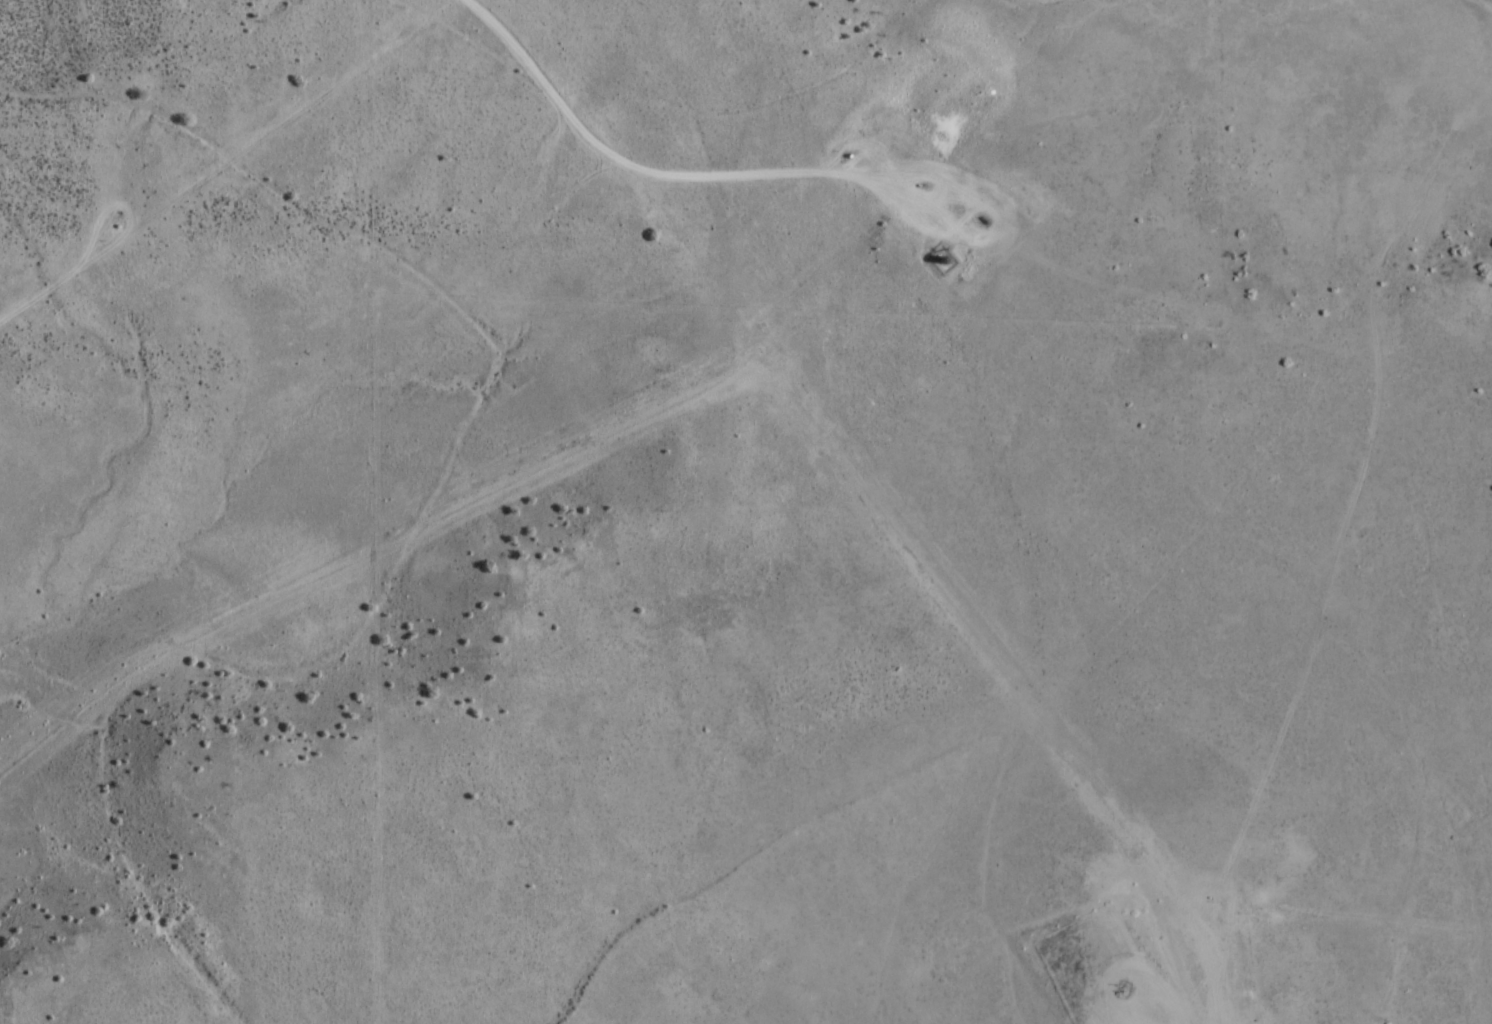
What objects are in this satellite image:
road: (1352, 556)

